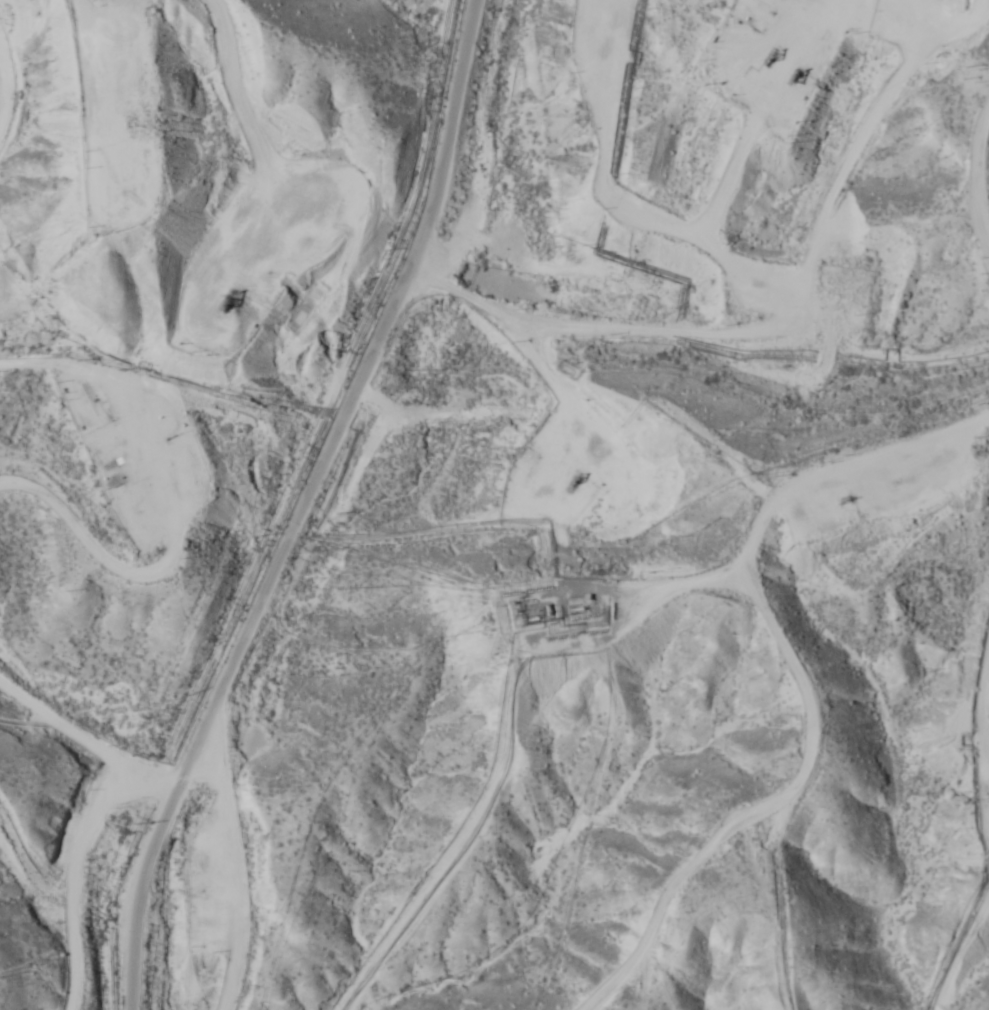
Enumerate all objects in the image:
road: (273, 499)
road: (726, 662)
road: (64, 745)
road: (45, 844)
road: (3, 973)

